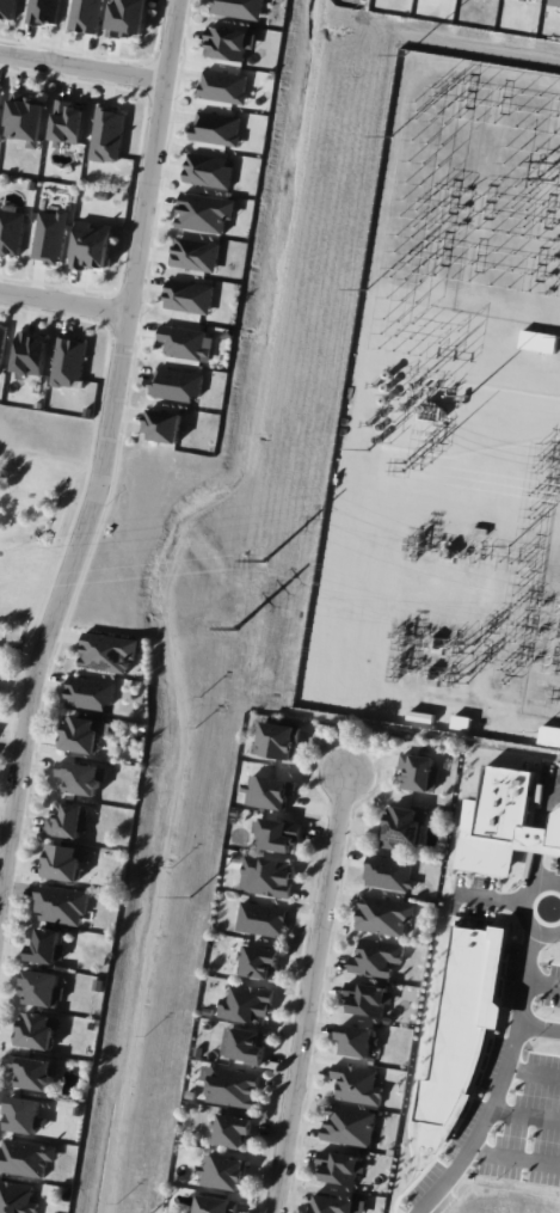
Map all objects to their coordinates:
building: (554, 4)
building: (7, 8)
building: (238, 8)
building: (43, 11)
building: (85, 16)
building: (128, 16)
building: (229, 42)
road: (82, 63)
building: (223, 85)
building: (0, 91)
building: (25, 117)
building: (67, 121)
building: (216, 128)
building: (106, 134)
building: (208, 170)
building: (204, 212)
building: (11, 231)
building: (49, 235)
building: (91, 244)
building: (195, 253)
building: (189, 296)
road: (63, 302)
building: (1, 342)
building: (186, 342)
building: (30, 353)
building: (68, 362)
building: (176, 384)
power substation: (450, 422)
building: (164, 425)
road: (109, 440)
power tower: (264, 560)
power tower: (217, 608)
power tower: (241, 642)
building: (109, 651)
building: (91, 692)
building: (460, 721)
building: (82, 734)
building: (549, 735)
building: (278, 740)
building: (418, 772)
building: (81, 777)
road: (554, 785)
building: (267, 791)
building: (68, 819)
building: (404, 827)
building: (277, 834)
building: (64, 860)
building: (389, 874)
building: (265, 876)
road: (491, 895)
power tower: (187, 896)
building: (61, 903)
road: (525, 907)
building: (384, 914)
building: (261, 918)
building: (47, 946)
building: (376, 957)
building: (260, 961)
road: (525, 976)
road: (542, 980)
building: (42, 988)
road: (313, 992)
building: (368, 998)
building: (245, 1004)
building: (38, 1030)
building: (355, 1040)
building: (247, 1044)
building: (33, 1071)
building: (357, 1084)
building: (232, 1086)
road: (490, 1105)
building: (25, 1115)
building: (349, 1126)
building: (233, 1129)
building: (25, 1157)
building: (340, 1166)
building: (221, 1171)
building: (17, 1197)
building: (215, 1205)
building: (337, 1205)

